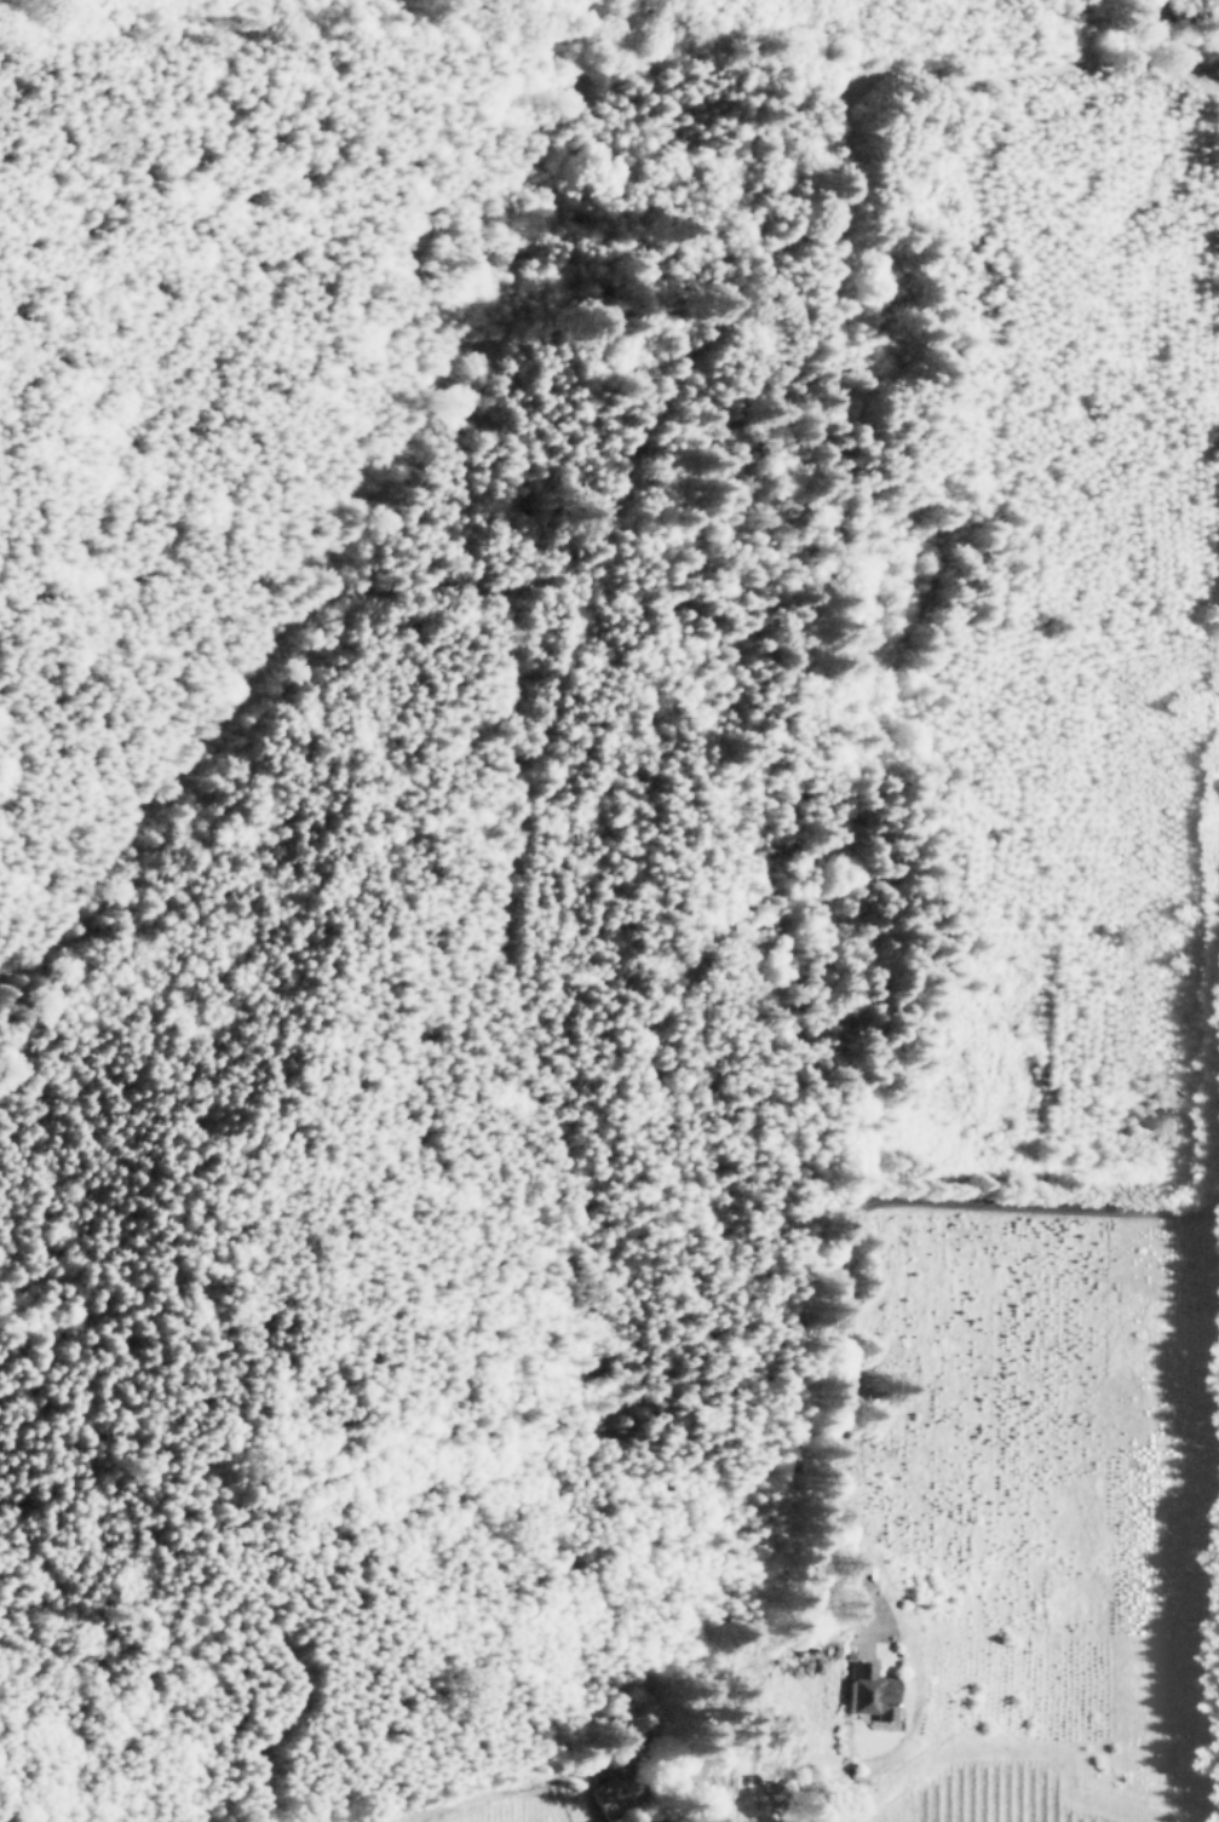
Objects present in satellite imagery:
road: (838, 1504)
road: (268, 1816)

